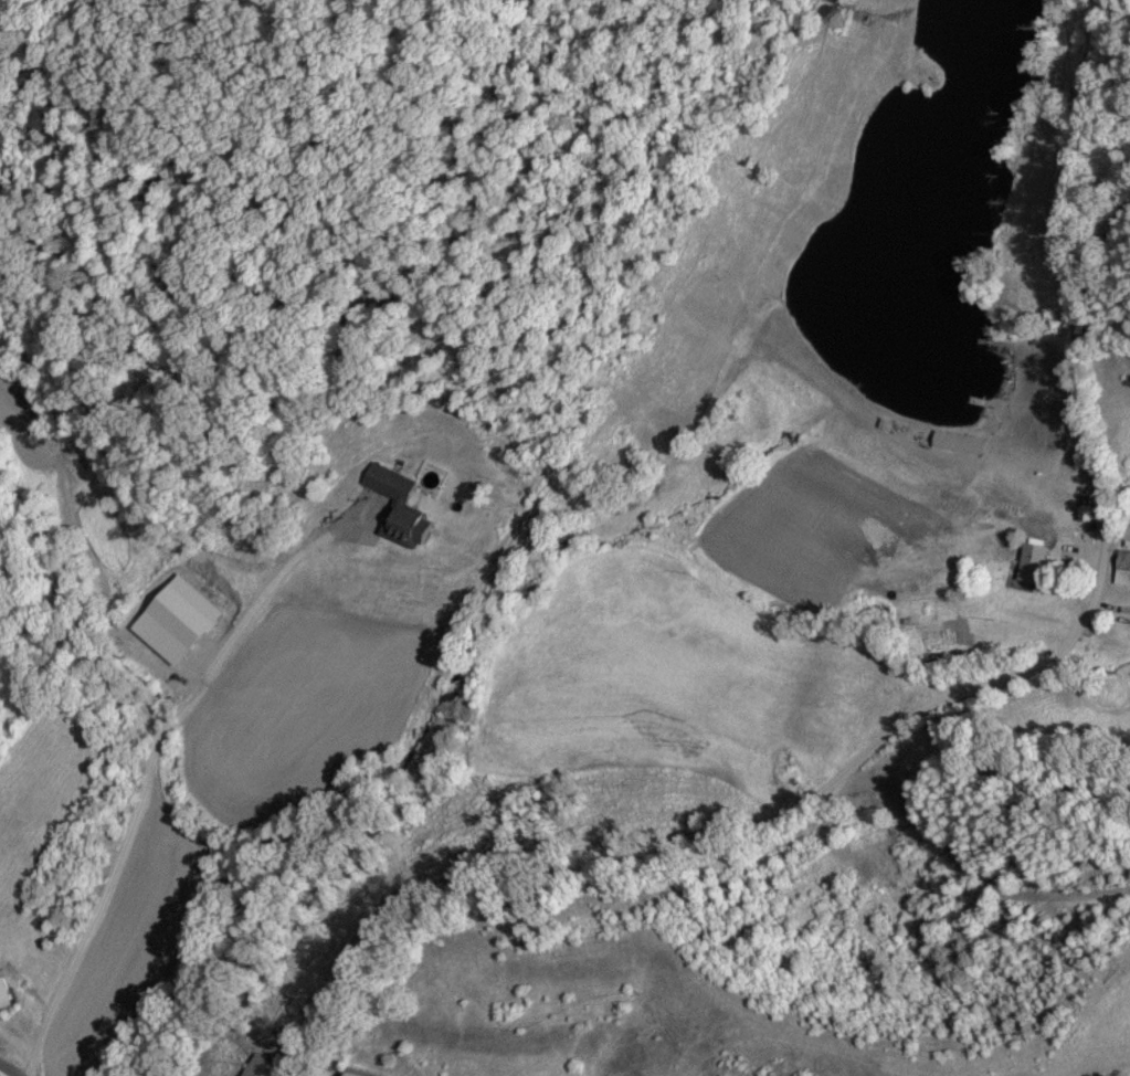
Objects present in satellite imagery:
road: (948, 720)
road: (150, 760)
road: (17, 1043)
road: (6, 1072)

